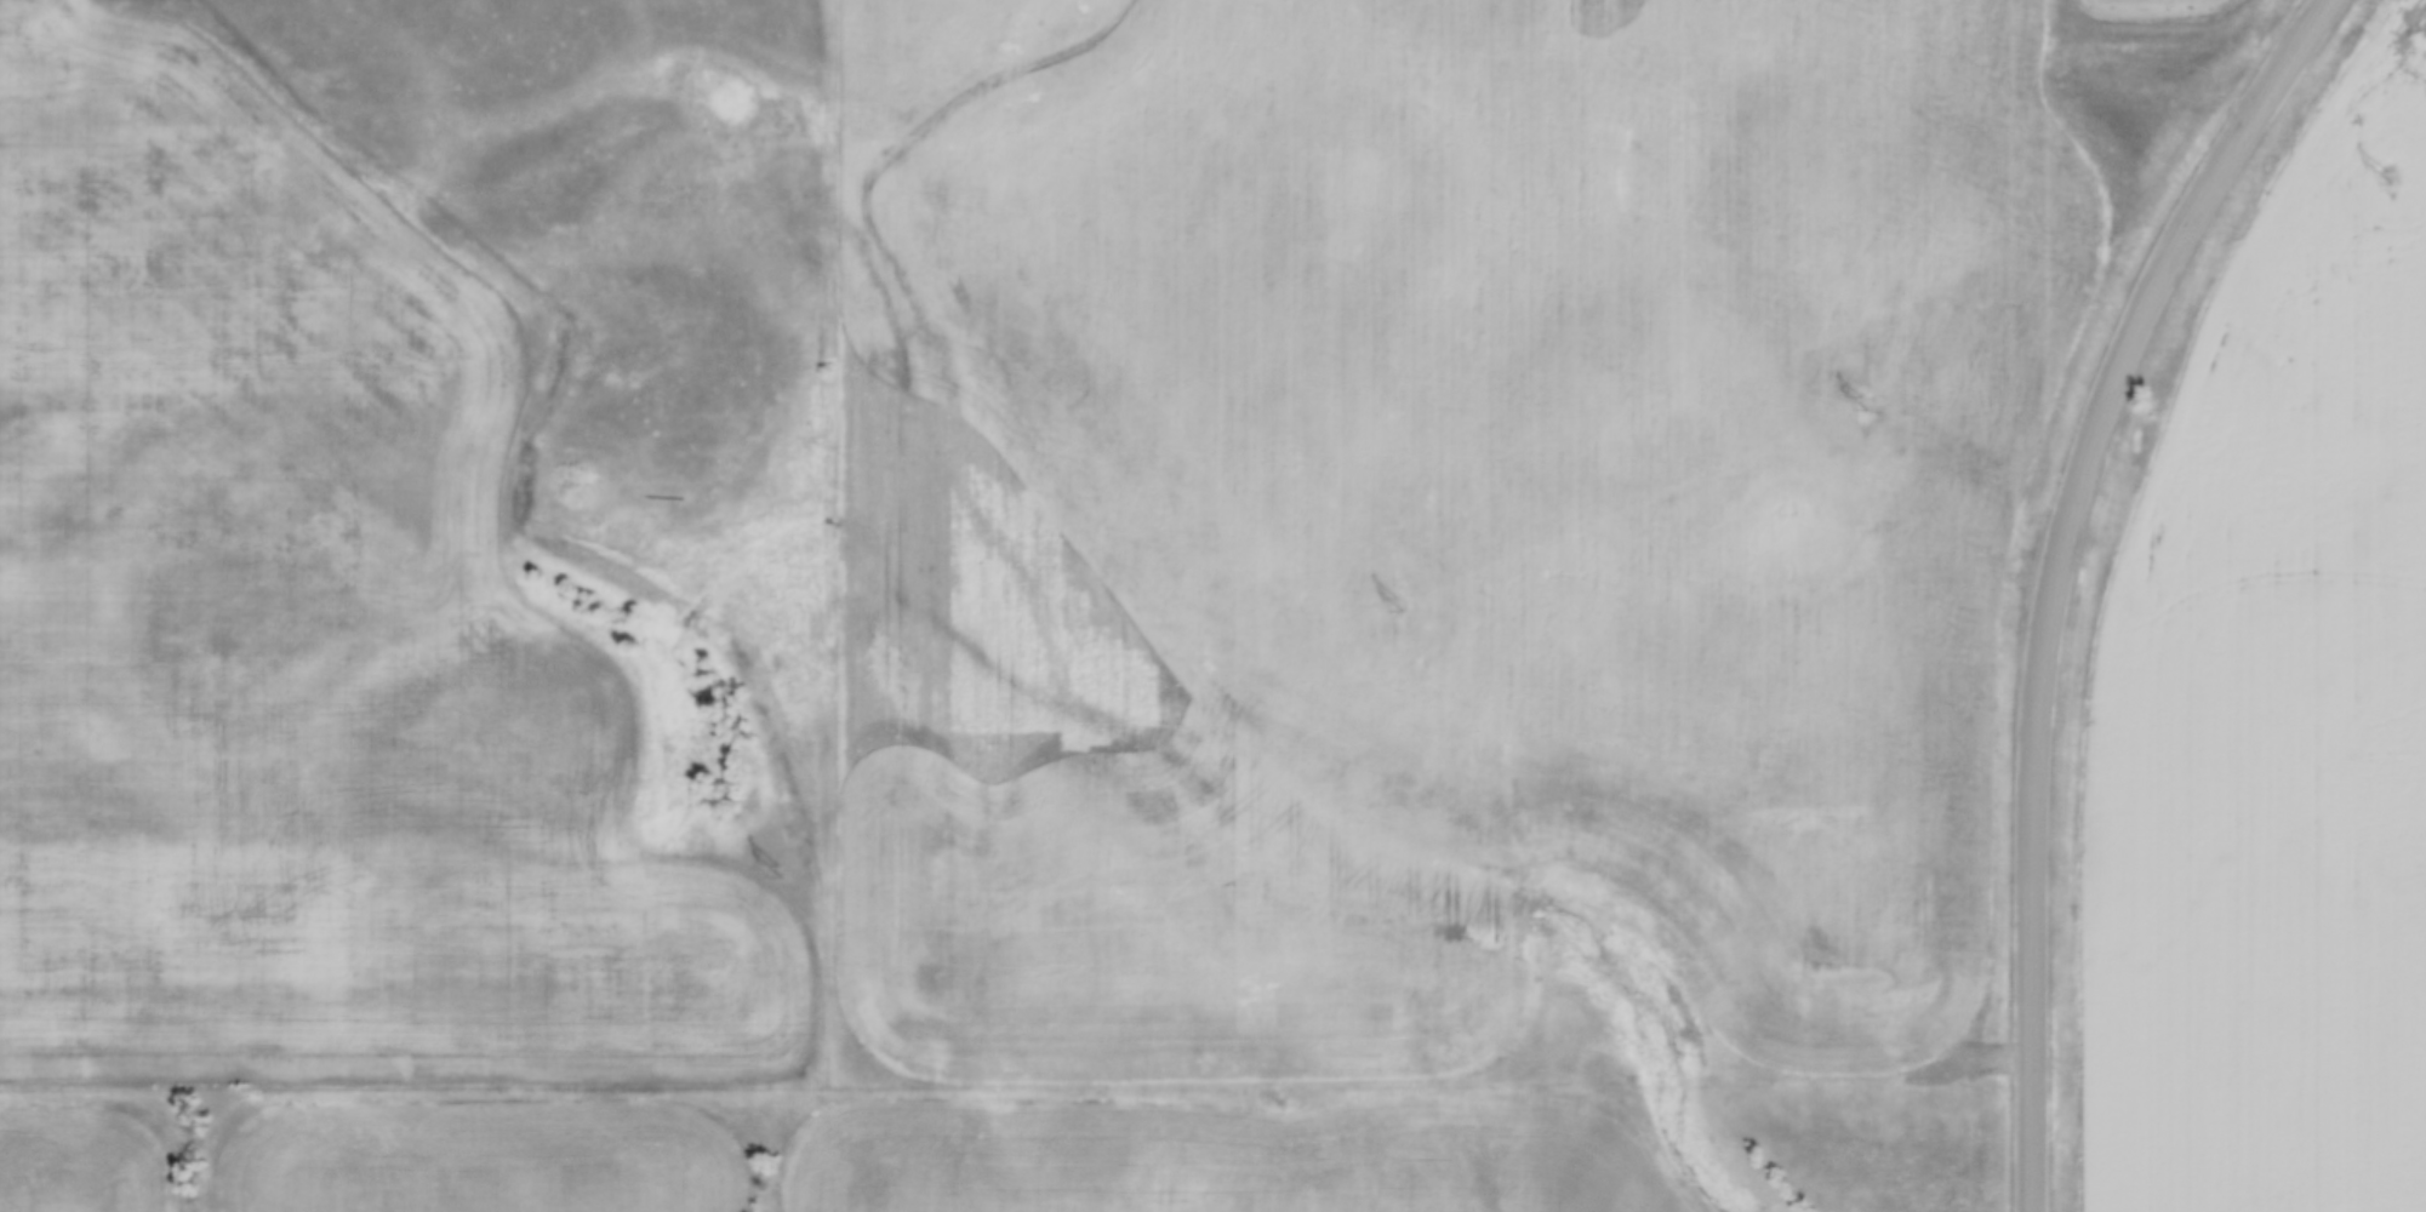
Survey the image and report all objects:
power tower: (2388, 175)
power tower: (1863, 401)
road: (2055, 573)
power tower: (1399, 602)
power tower: (780, 870)
power tower: (204, 1119)

